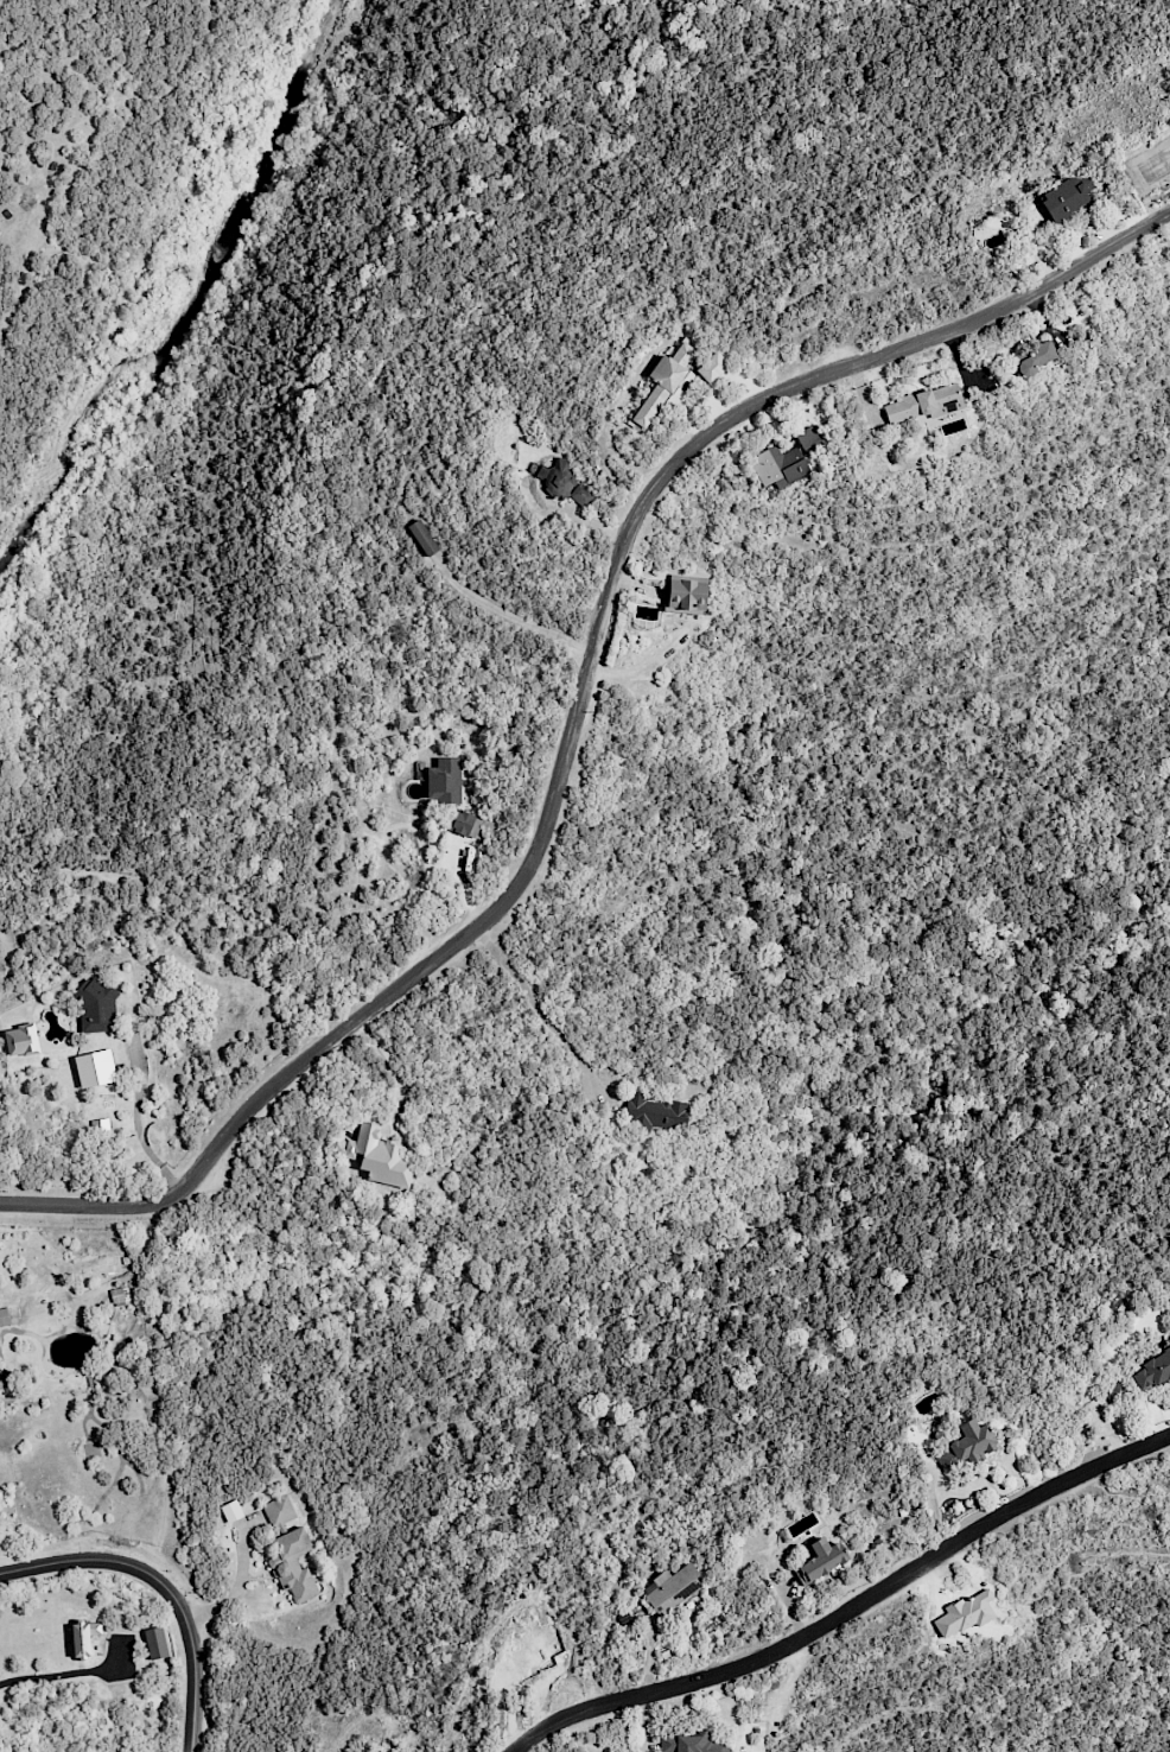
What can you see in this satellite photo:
building: (1066, 199)
building: (1035, 358)
building: (712, 367)
building: (665, 380)
building: (923, 404)
building: (808, 438)
building: (778, 466)
building: (553, 477)
building: (580, 495)
building: (422, 538)
building: (686, 592)
road: (578, 712)
building: (444, 781)
building: (465, 824)
building: (96, 1007)
road: (538, 1007)
building: (21, 1040)
building: (95, 1068)
building: (654, 1112)
road: (138, 1123)
building: (380, 1157)
building: (4, 1316)
building: (1152, 1371)
building: (1115, 1390)
building: (967, 1446)
building: (279, 1511)
building: (821, 1560)
building: (293, 1566)
road: (165, 1586)
building: (672, 1589)
road: (846, 1612)
building: (84, 1637)
building: (155, 1643)
building: (692, 1744)

